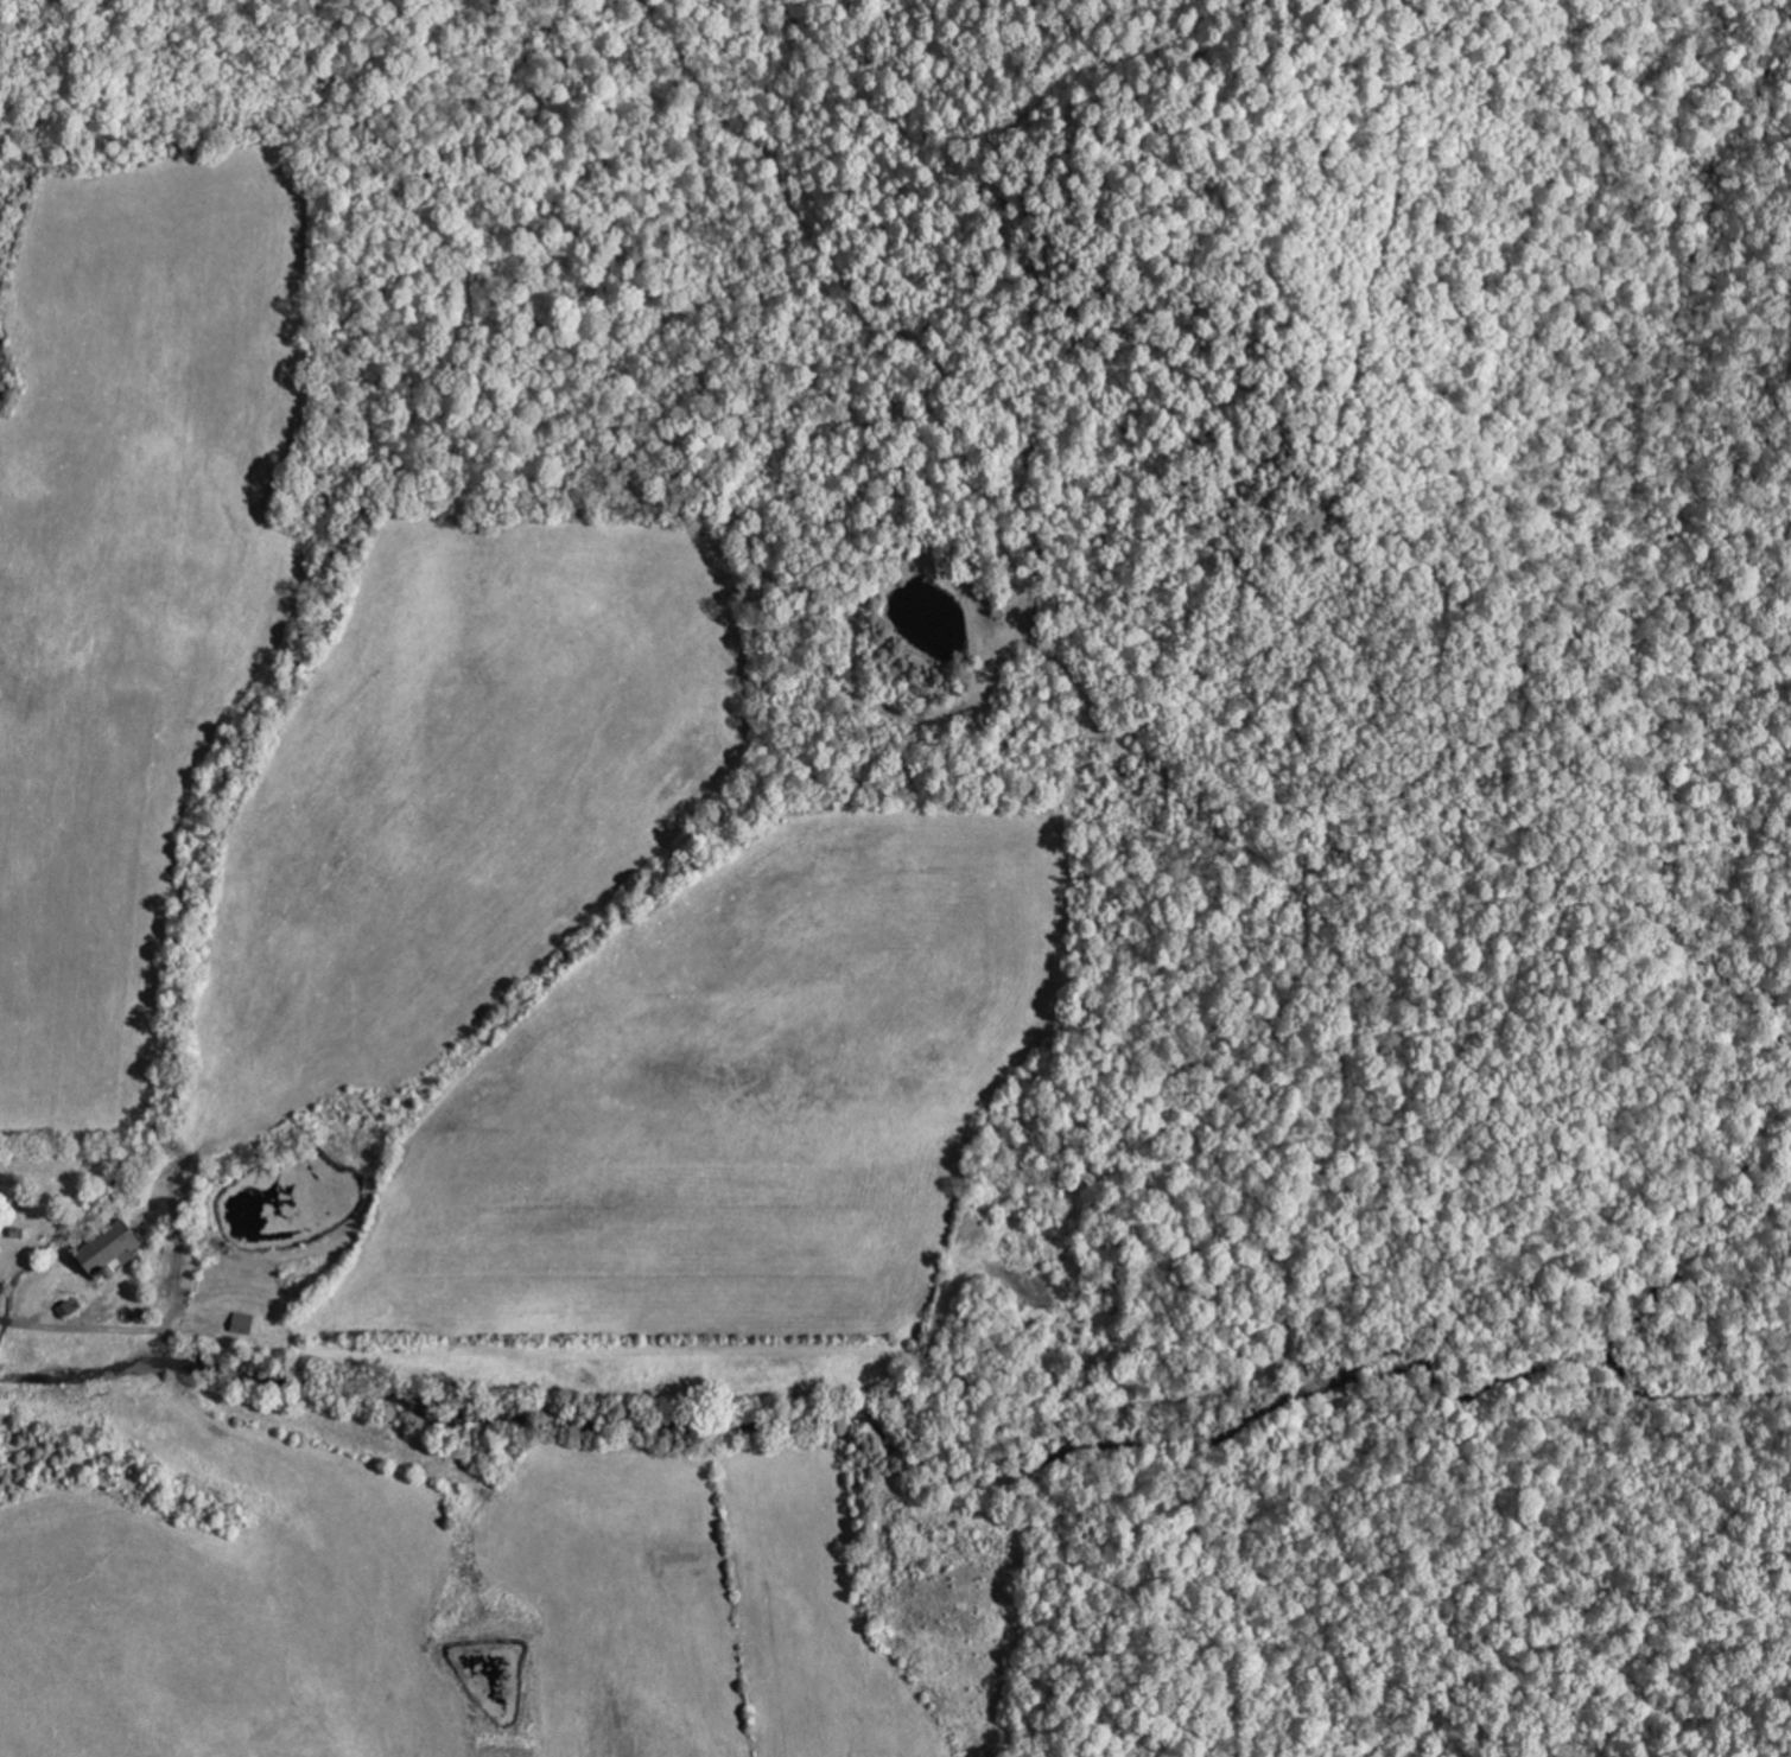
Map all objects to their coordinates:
building: (103, 1244)
building: (241, 1322)

